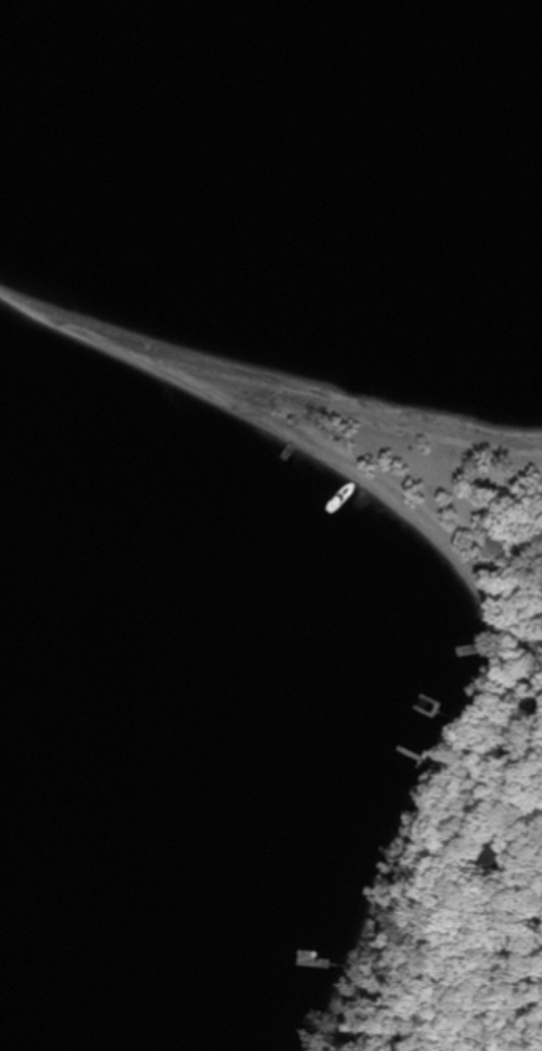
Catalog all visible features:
river: (20, 15)

